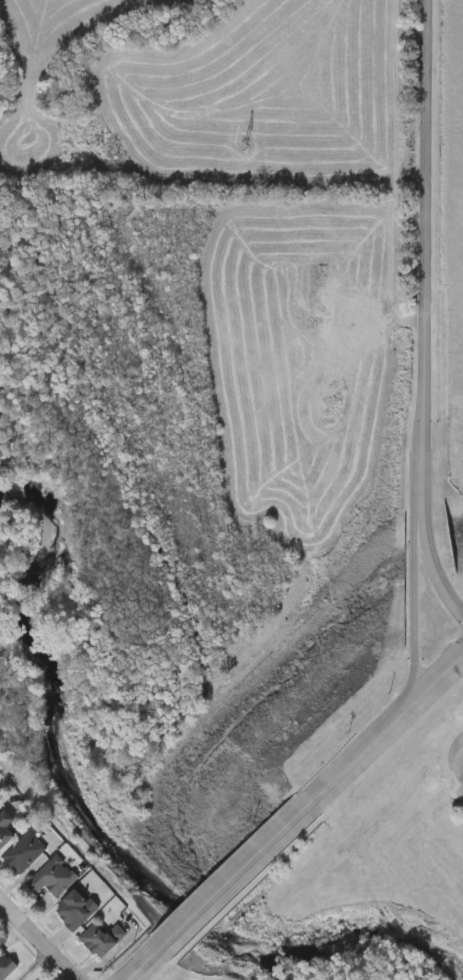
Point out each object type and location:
road: (424, 311)
road: (414, 560)
road: (438, 680)
road: (362, 753)
road: (460, 757)
building: (4, 828)
building: (23, 853)
road: (241, 872)
building: (51, 877)
park: (360, 879)
park: (363, 882)
building: (74, 910)
building: (100, 938)
road: (37, 940)
road: (150, 960)
road: (28, 964)
building: (6, 965)

